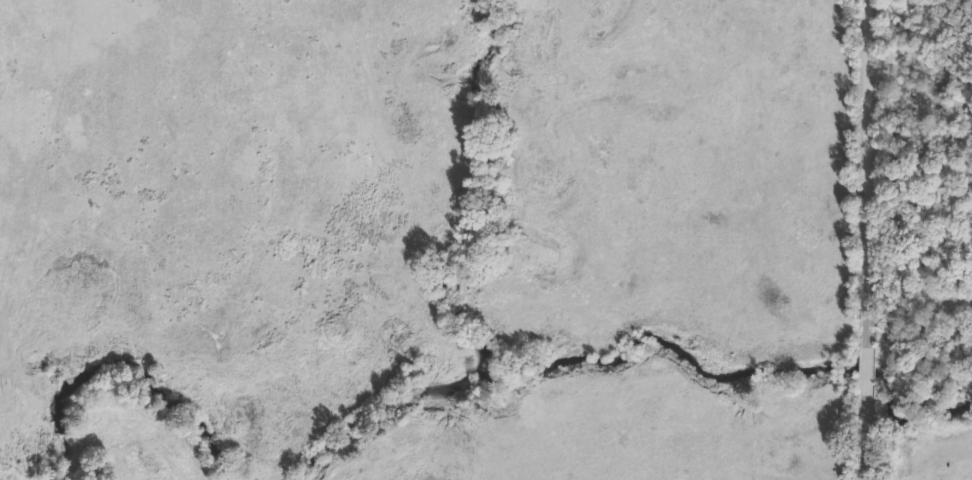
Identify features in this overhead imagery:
road: (884, 240)

